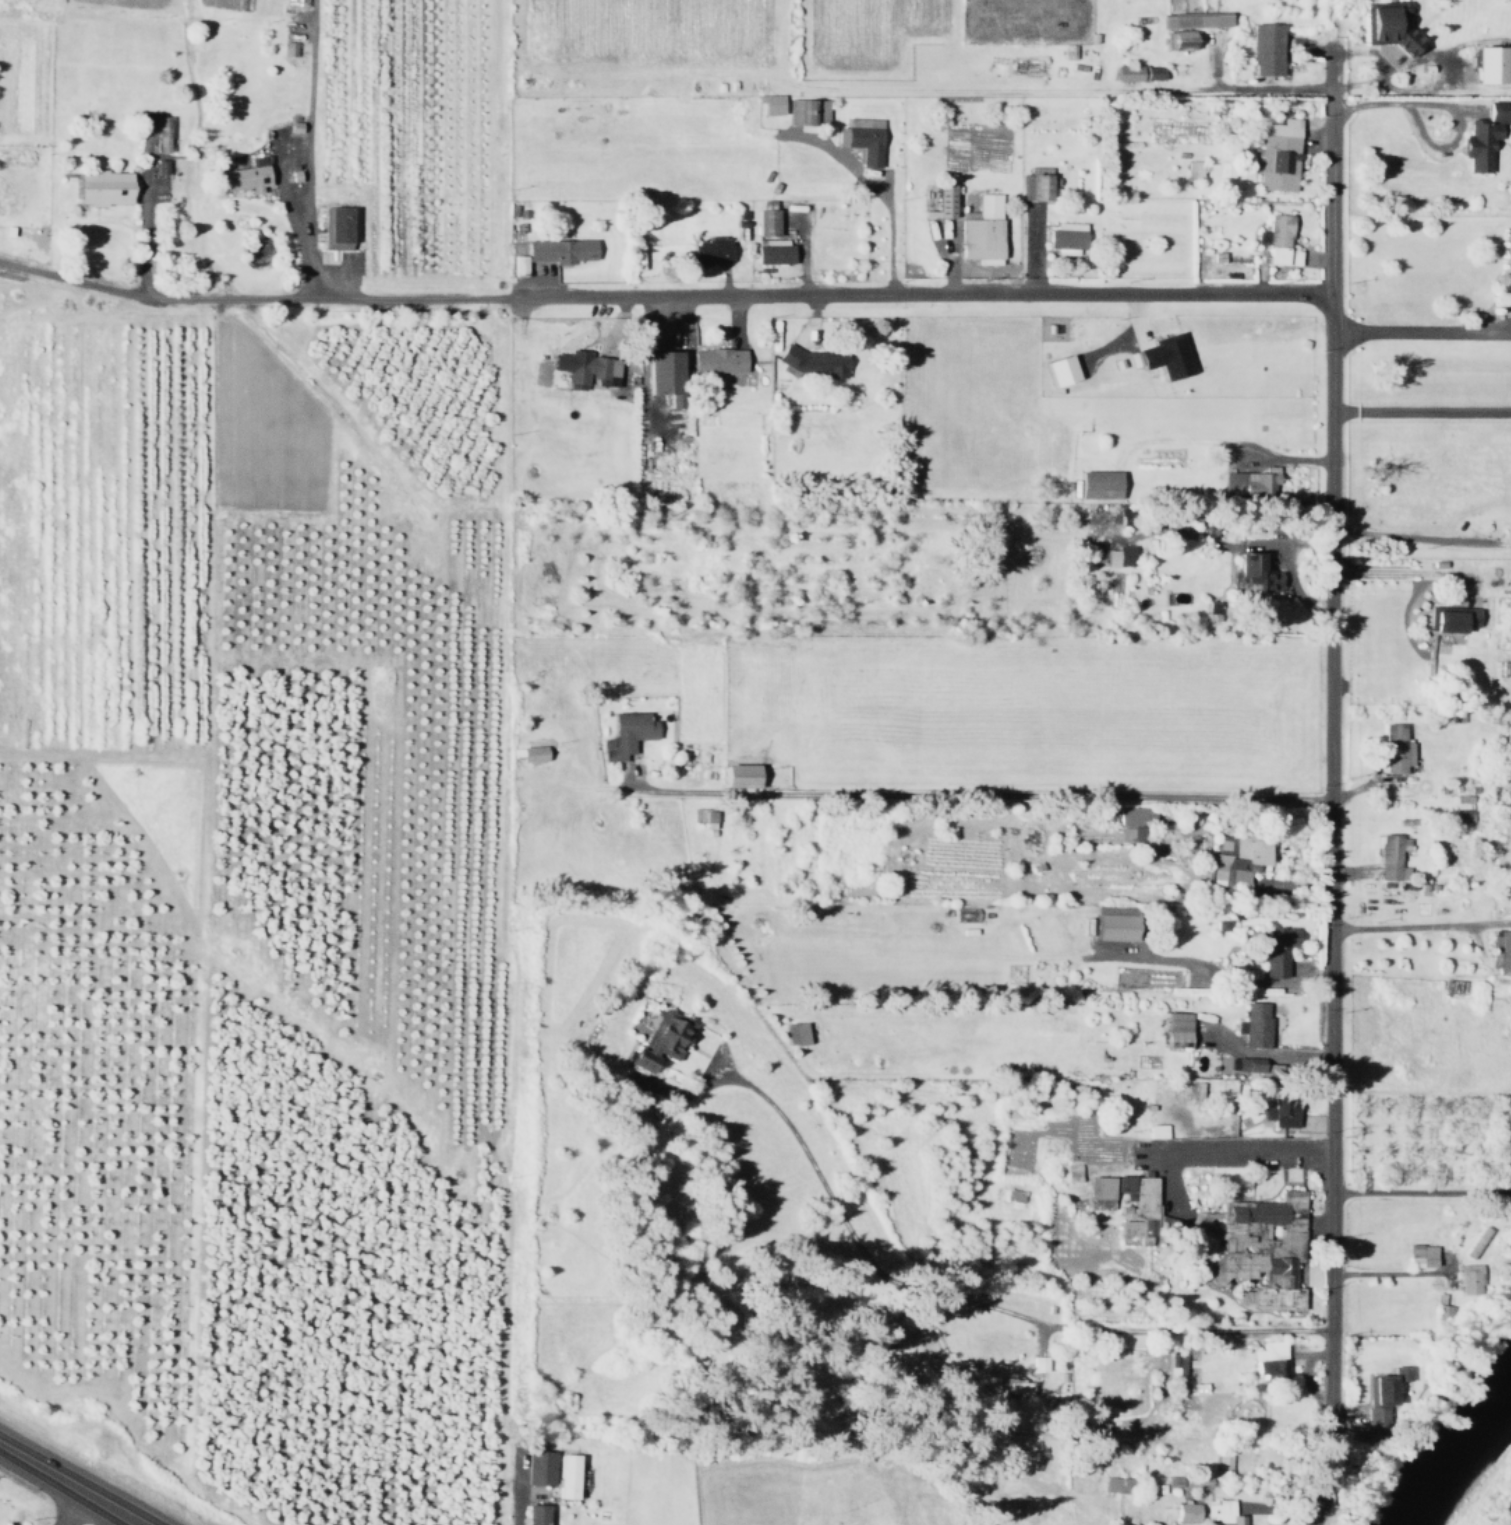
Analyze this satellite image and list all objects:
building: (1191, 20)
building: (1382, 25)
building: (1179, 39)
building: (1262, 48)
building: (1488, 64)
building: (1135, 72)
road: (1233, 88)
building: (805, 111)
building: (157, 134)
building: (1482, 134)
building: (859, 138)
building: (1275, 155)
building: (1190, 169)
building: (239, 178)
building: (1032, 186)
building: (99, 187)
building: (940, 201)
building: (764, 221)
building: (331, 228)
building: (978, 230)
building: (1273, 231)
building: (1063, 237)
building: (556, 250)
building: (707, 251)
building: (770, 251)
building: (1279, 255)
building: (1506, 261)
building: (515, 265)
road: (920, 292)
road: (253, 297)
building: (1161, 355)
building: (715, 360)
building: (809, 360)
building: (581, 368)
building: (1057, 369)
building: (660, 375)
building: (1249, 480)
building: (1095, 484)
road: (1406, 536)
building: (1116, 556)
building: (1249, 574)
building: (1448, 618)
building: (1505, 729)
building: (623, 733)
building: (1392, 747)
building: (735, 775)
road: (1327, 790)
road: (977, 794)
building: (1460, 803)
building: (1129, 820)
building: (1389, 856)
building: (1231, 860)
building: (1109, 926)
road: (1420, 928)
building: (1269, 949)
building: (1499, 951)
building: (1252, 1024)
building: (1174, 1028)
building: (793, 1033)
building: (657, 1040)
building: (1245, 1063)
building: (1222, 1064)
building: (1279, 1112)
building: (1154, 1130)
building: (1094, 1193)
building: (1011, 1194)
building: (1136, 1205)
building: (1418, 1255)
building: (1465, 1278)
building: (1265, 1359)
building: (1035, 1363)
building: (1174, 1363)
building: (1006, 1386)
building: (1195, 1387)
building: (1378, 1396)
river: (1467, 1462)
building: (1222, 1464)
building: (536, 1467)
building: (563, 1476)
building: (1112, 1484)
road: (66, 1486)
road: (68, 1509)
building: (1184, 1512)
building: (1220, 1513)
building: (532, 1514)

